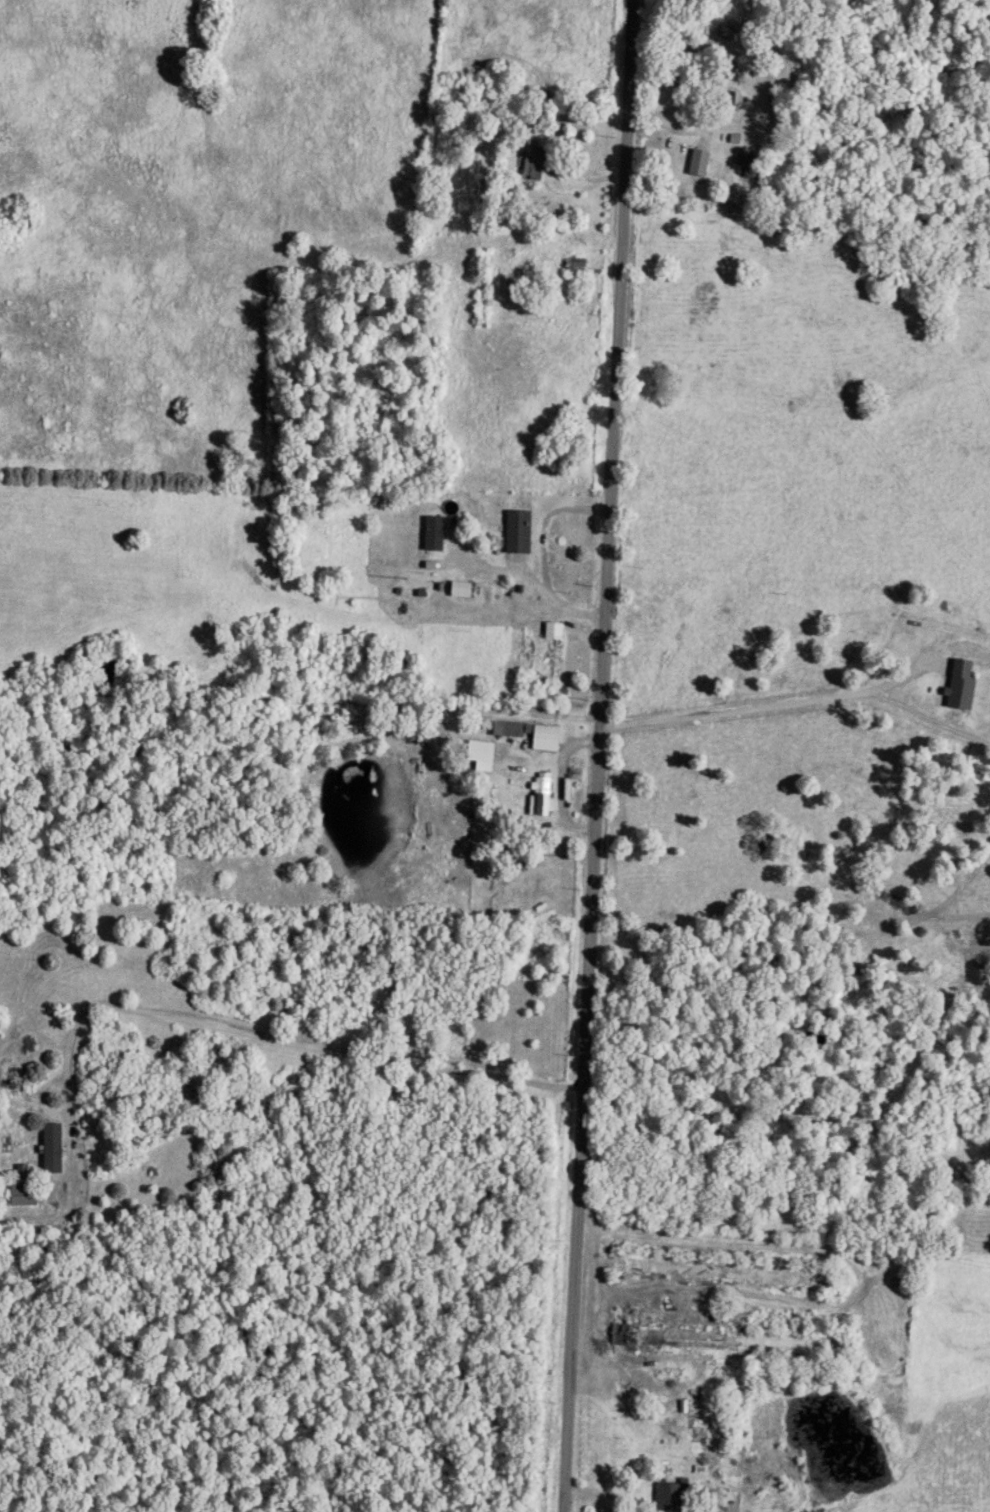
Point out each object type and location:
building: (727, 103)
building: (531, 162)
building: (696, 166)
building: (572, 269)
building: (515, 534)
building: (431, 536)
road: (529, 583)
building: (458, 592)
building: (549, 650)
building: (957, 688)
road: (765, 708)
building: (506, 731)
building: (544, 735)
road: (597, 755)
building: (542, 796)
road: (234, 1040)
building: (20, 1198)
building: (715, 1272)
road: (599, 1307)
building: (719, 1342)
building: (665, 1495)

